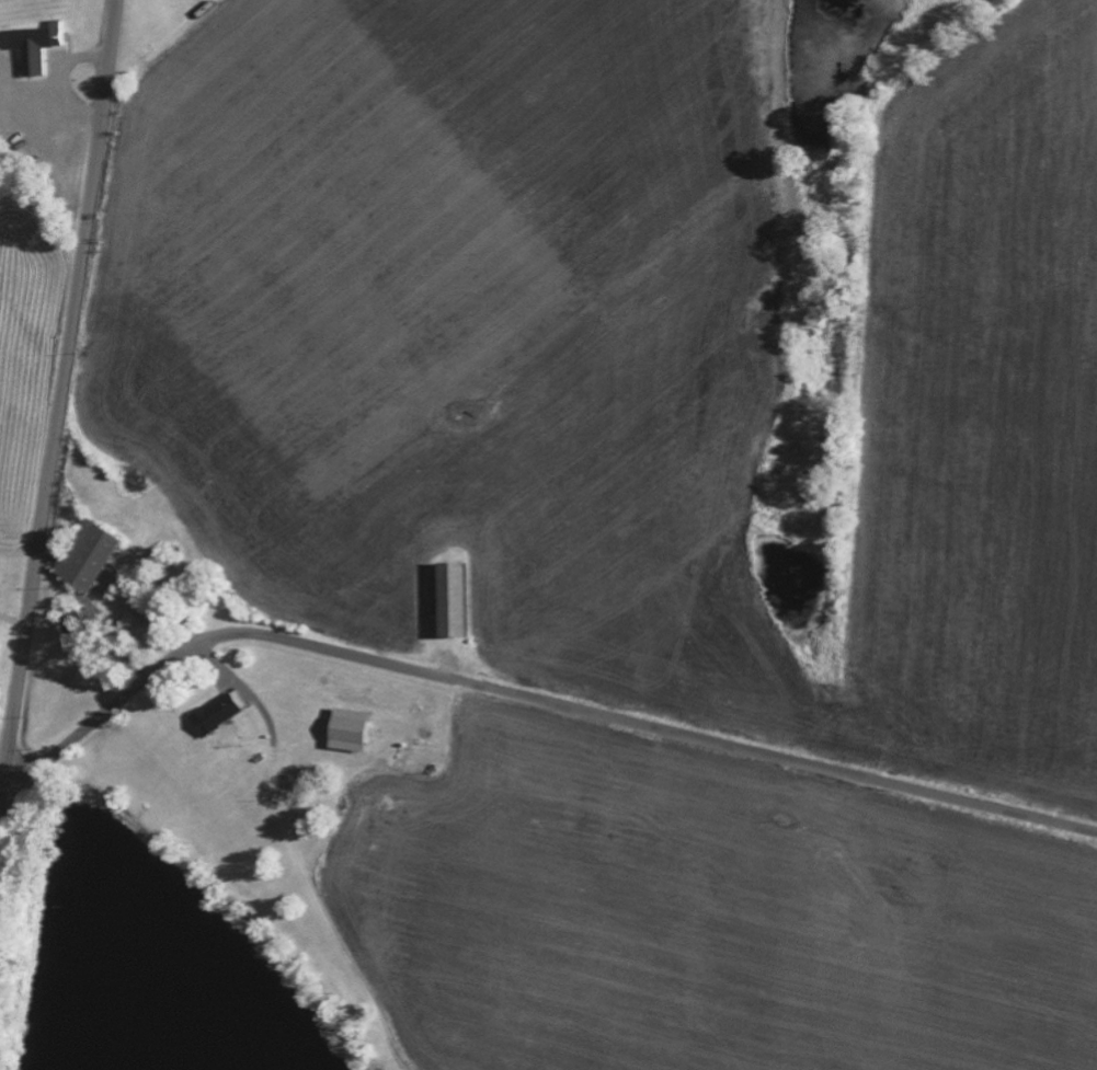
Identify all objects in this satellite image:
building: (35, 45)
road: (59, 412)
building: (87, 556)
building: (448, 600)
road: (533, 699)
building: (218, 712)

